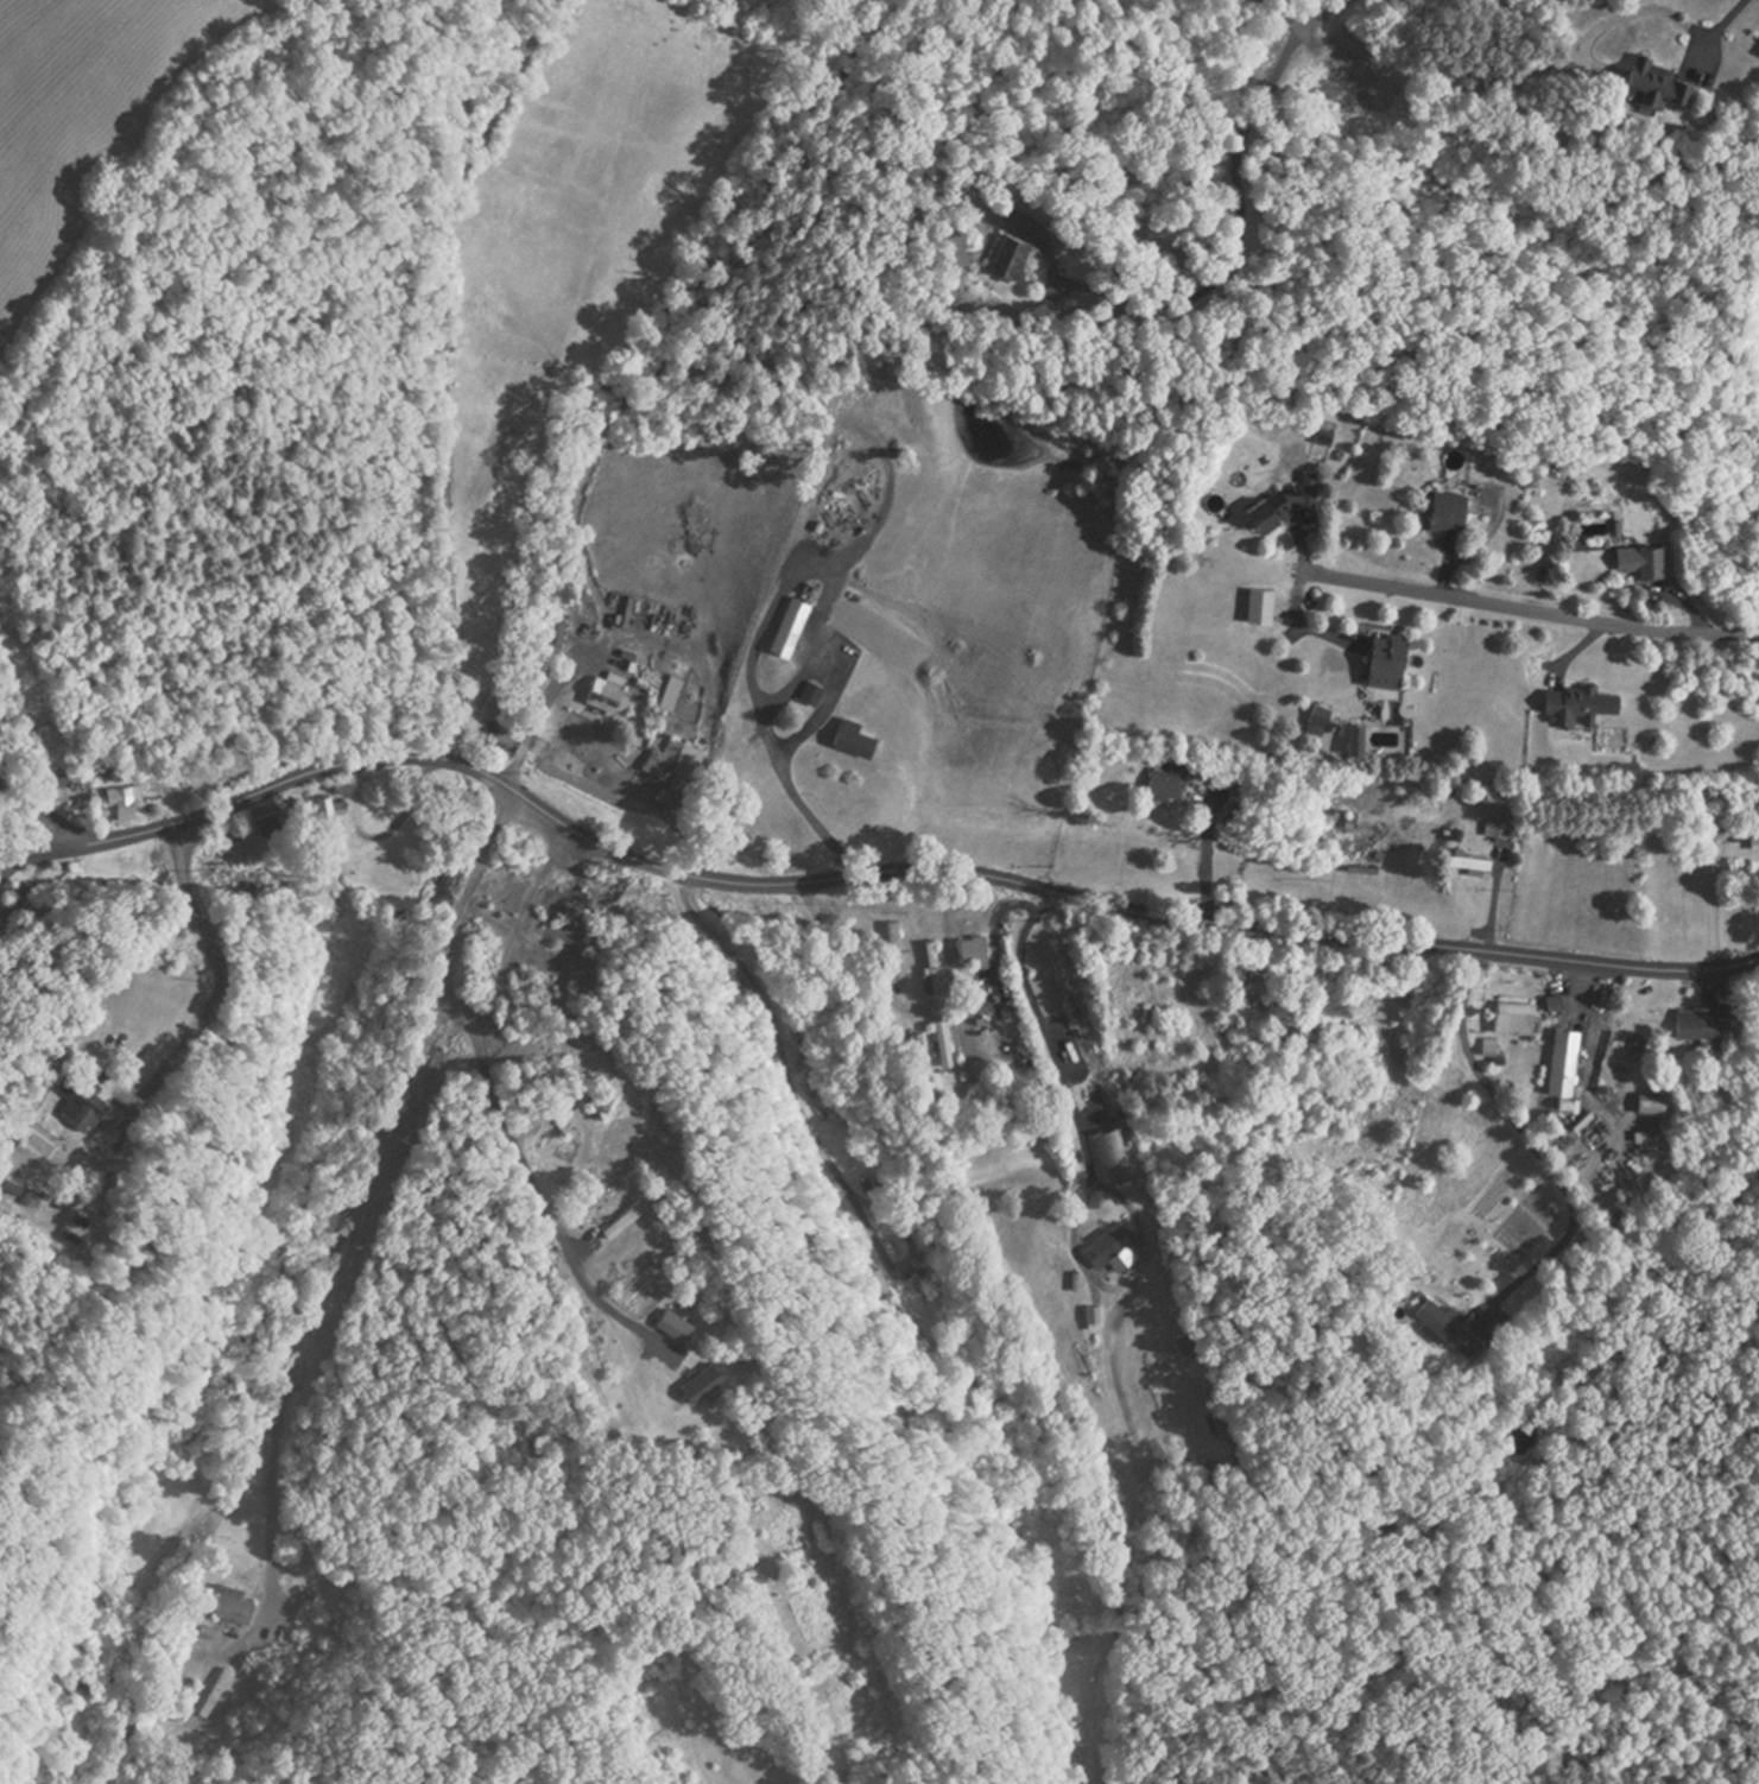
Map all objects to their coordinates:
road: (1283, 12)
road: (1321, 12)
road: (1709, 32)
road: (1244, 221)
road: (1539, 616)
road: (601, 646)
road: (752, 671)
road: (39, 810)
road: (863, 873)
road: (224, 975)
road: (1050, 1026)
road: (1533, 1147)
road: (532, 1163)
road: (358, 1181)

